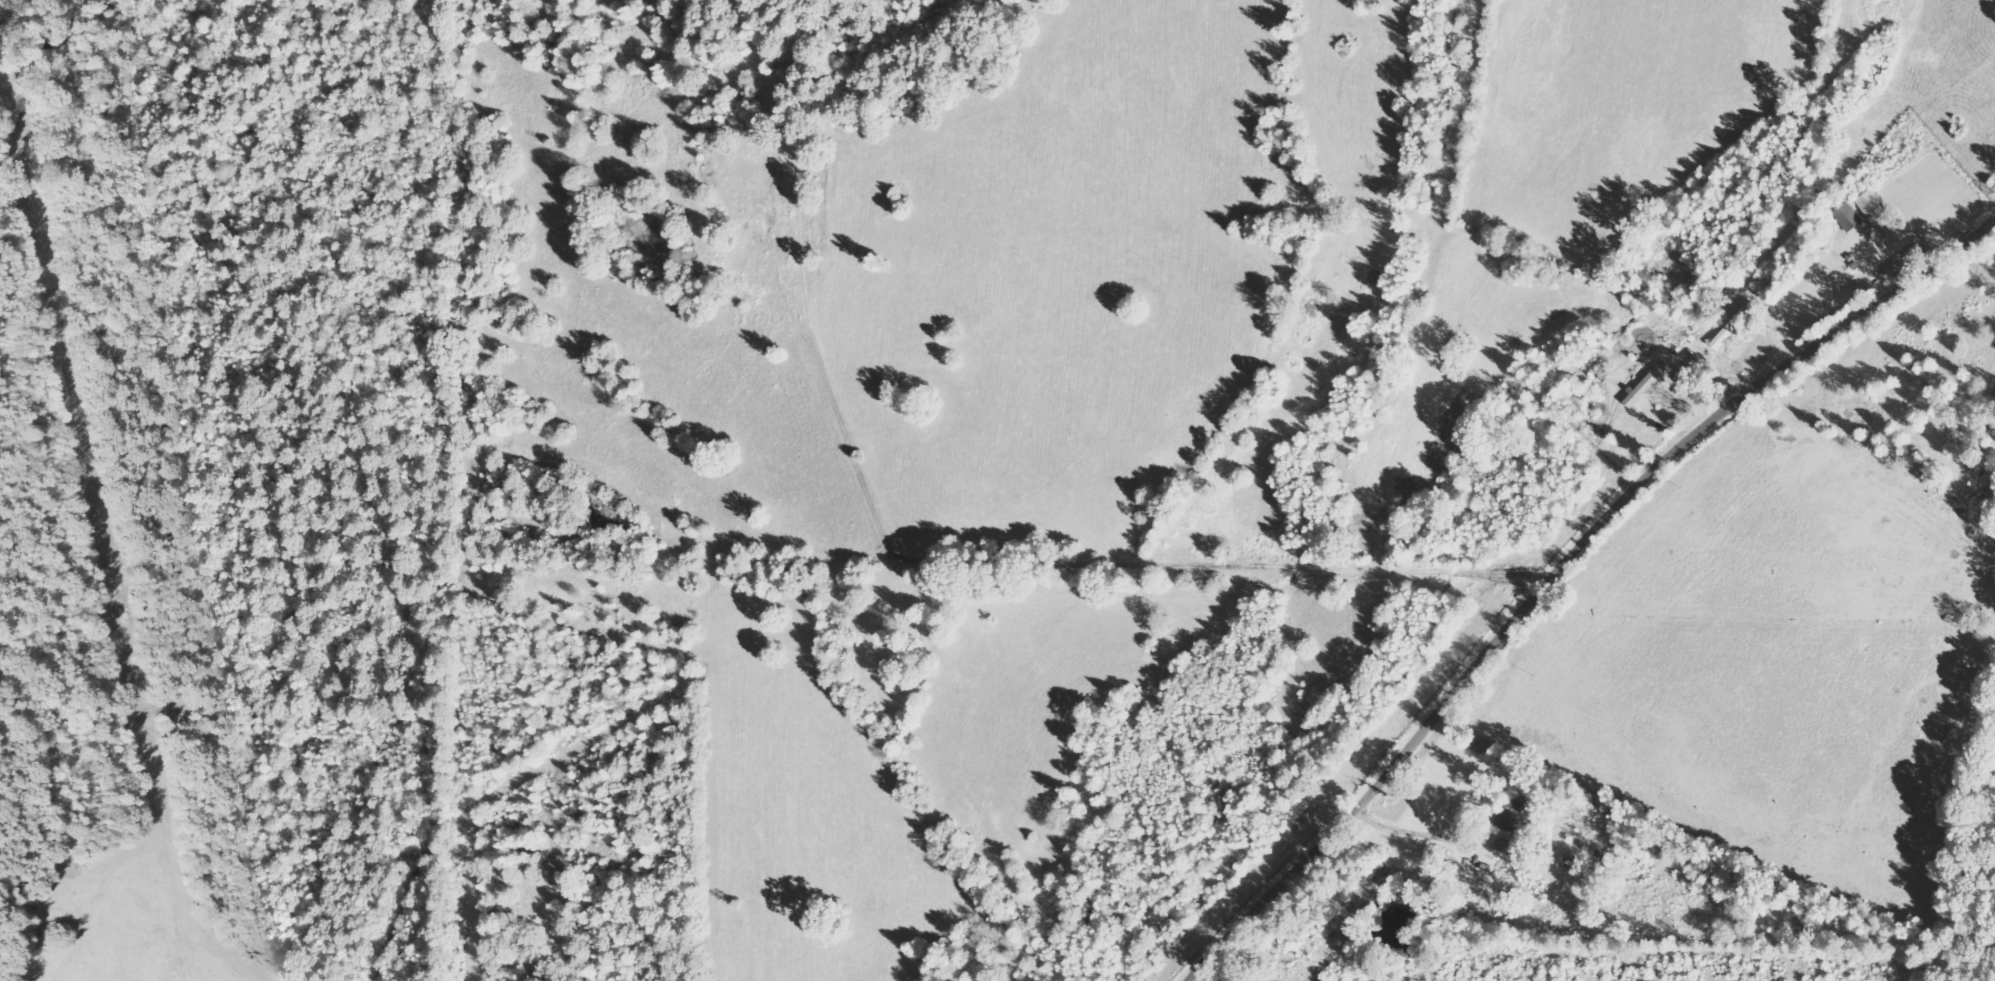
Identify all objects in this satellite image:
building: (1878, 212)
building: (1850, 217)
building: (1647, 385)
road: (1568, 554)
road: (725, 719)
building: (1511, 815)

